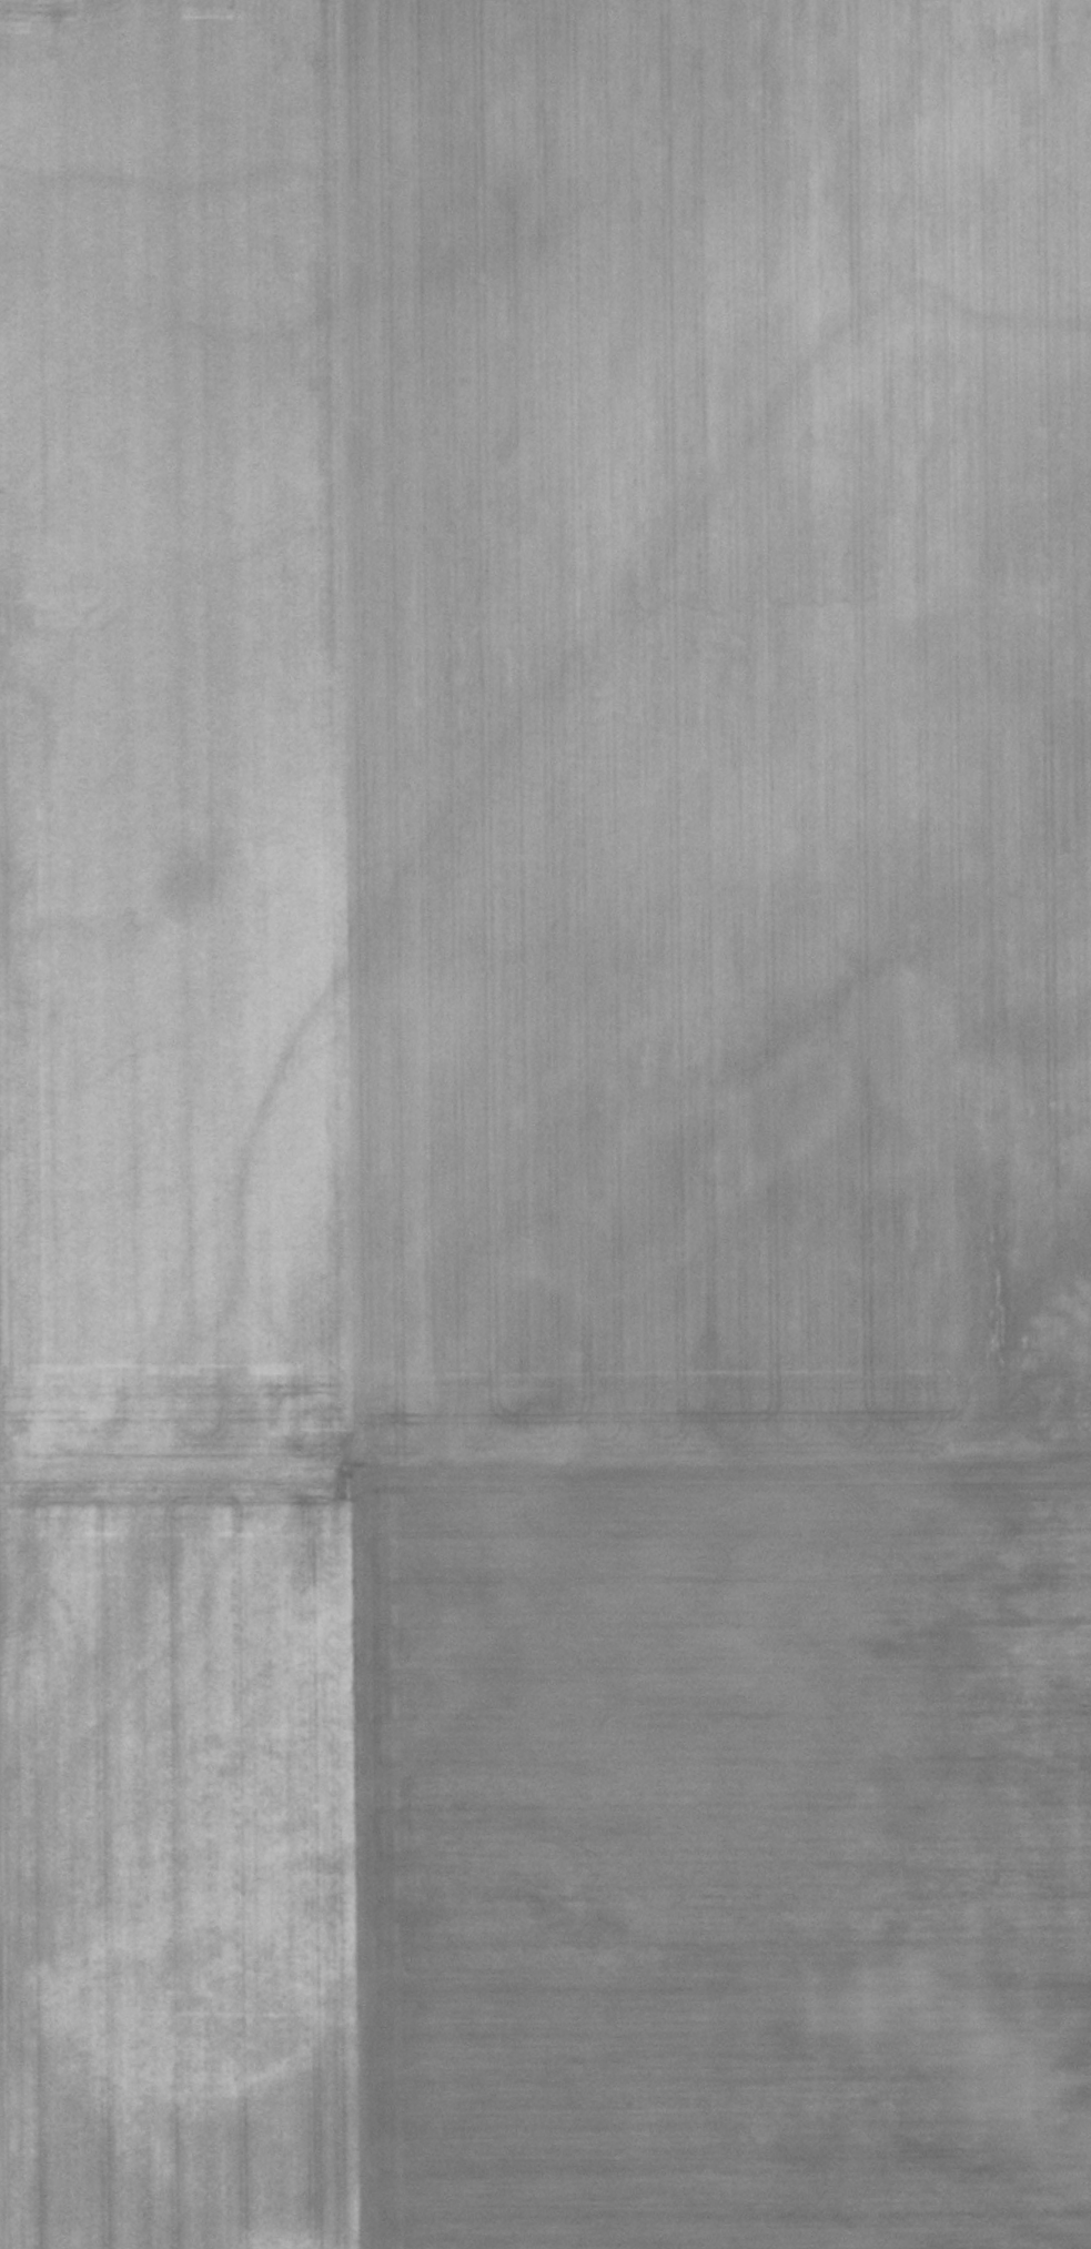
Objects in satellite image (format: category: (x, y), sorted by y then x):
road: (2, 2017)

